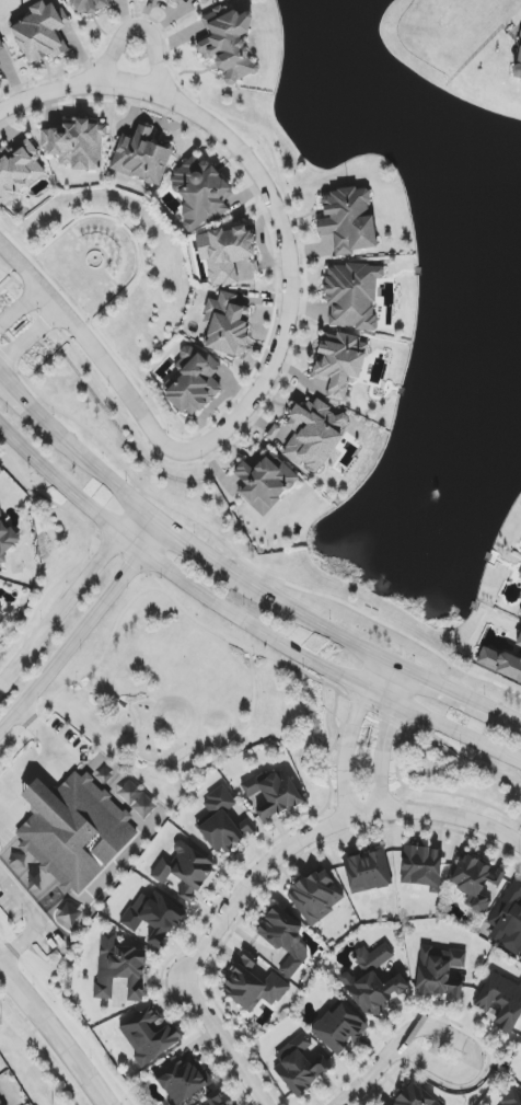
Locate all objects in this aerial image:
building: (180, 0)
building: (205, 0)
building: (89, 5)
road: (142, 26)
building: (42, 33)
building: (228, 44)
building: (2, 57)
building: (519, 60)
building: (76, 145)
building: (141, 157)
building: (19, 171)
road: (267, 188)
building: (199, 193)
building: (348, 220)
building: (224, 253)
building: (250, 266)
building: (351, 295)
road: (22, 309)
building: (227, 324)
road: (30, 336)
road: (93, 349)
building: (339, 362)
building: (194, 382)
road: (31, 408)
building: (310, 435)
road: (102, 474)
building: (264, 482)
traffic signals: (141, 507)
road: (63, 508)
traffic signals: (166, 528)
traffic signals: (117, 536)
building: (7, 539)
road: (187, 542)
road: (236, 557)
building: (520, 577)
road: (45, 592)
road: (70, 595)
building: (1, 612)
building: (520, 614)
road: (242, 618)
road: (309, 619)
road: (83, 628)
building: (518, 640)
building: (509, 667)
road: (86, 672)
road: (323, 682)
road: (440, 687)
road: (508, 717)
road: (349, 738)
road: (384, 741)
road: (45, 753)
road: (175, 756)
building: (271, 794)
building: (223, 822)
building: (77, 828)
road: (321, 832)
building: (420, 866)
building: (186, 871)
building: (367, 871)
building: (473, 882)
building: (317, 896)
building: (154, 917)
building: (508, 920)
road: (34, 921)
building: (285, 939)
building: (119, 968)
building: (440, 972)
building: (372, 981)
building: (253, 983)
building: (500, 1002)
road: (69, 1018)
building: (339, 1028)
road: (432, 1028)
road: (54, 1035)
building: (149, 1035)
road: (222, 1043)
road: (406, 1051)
road: (43, 1056)
building: (301, 1064)
building: (180, 1081)
building: (414, 1096)
building: (216, 1098)
building: (512, 1098)
building: (1, 1103)

